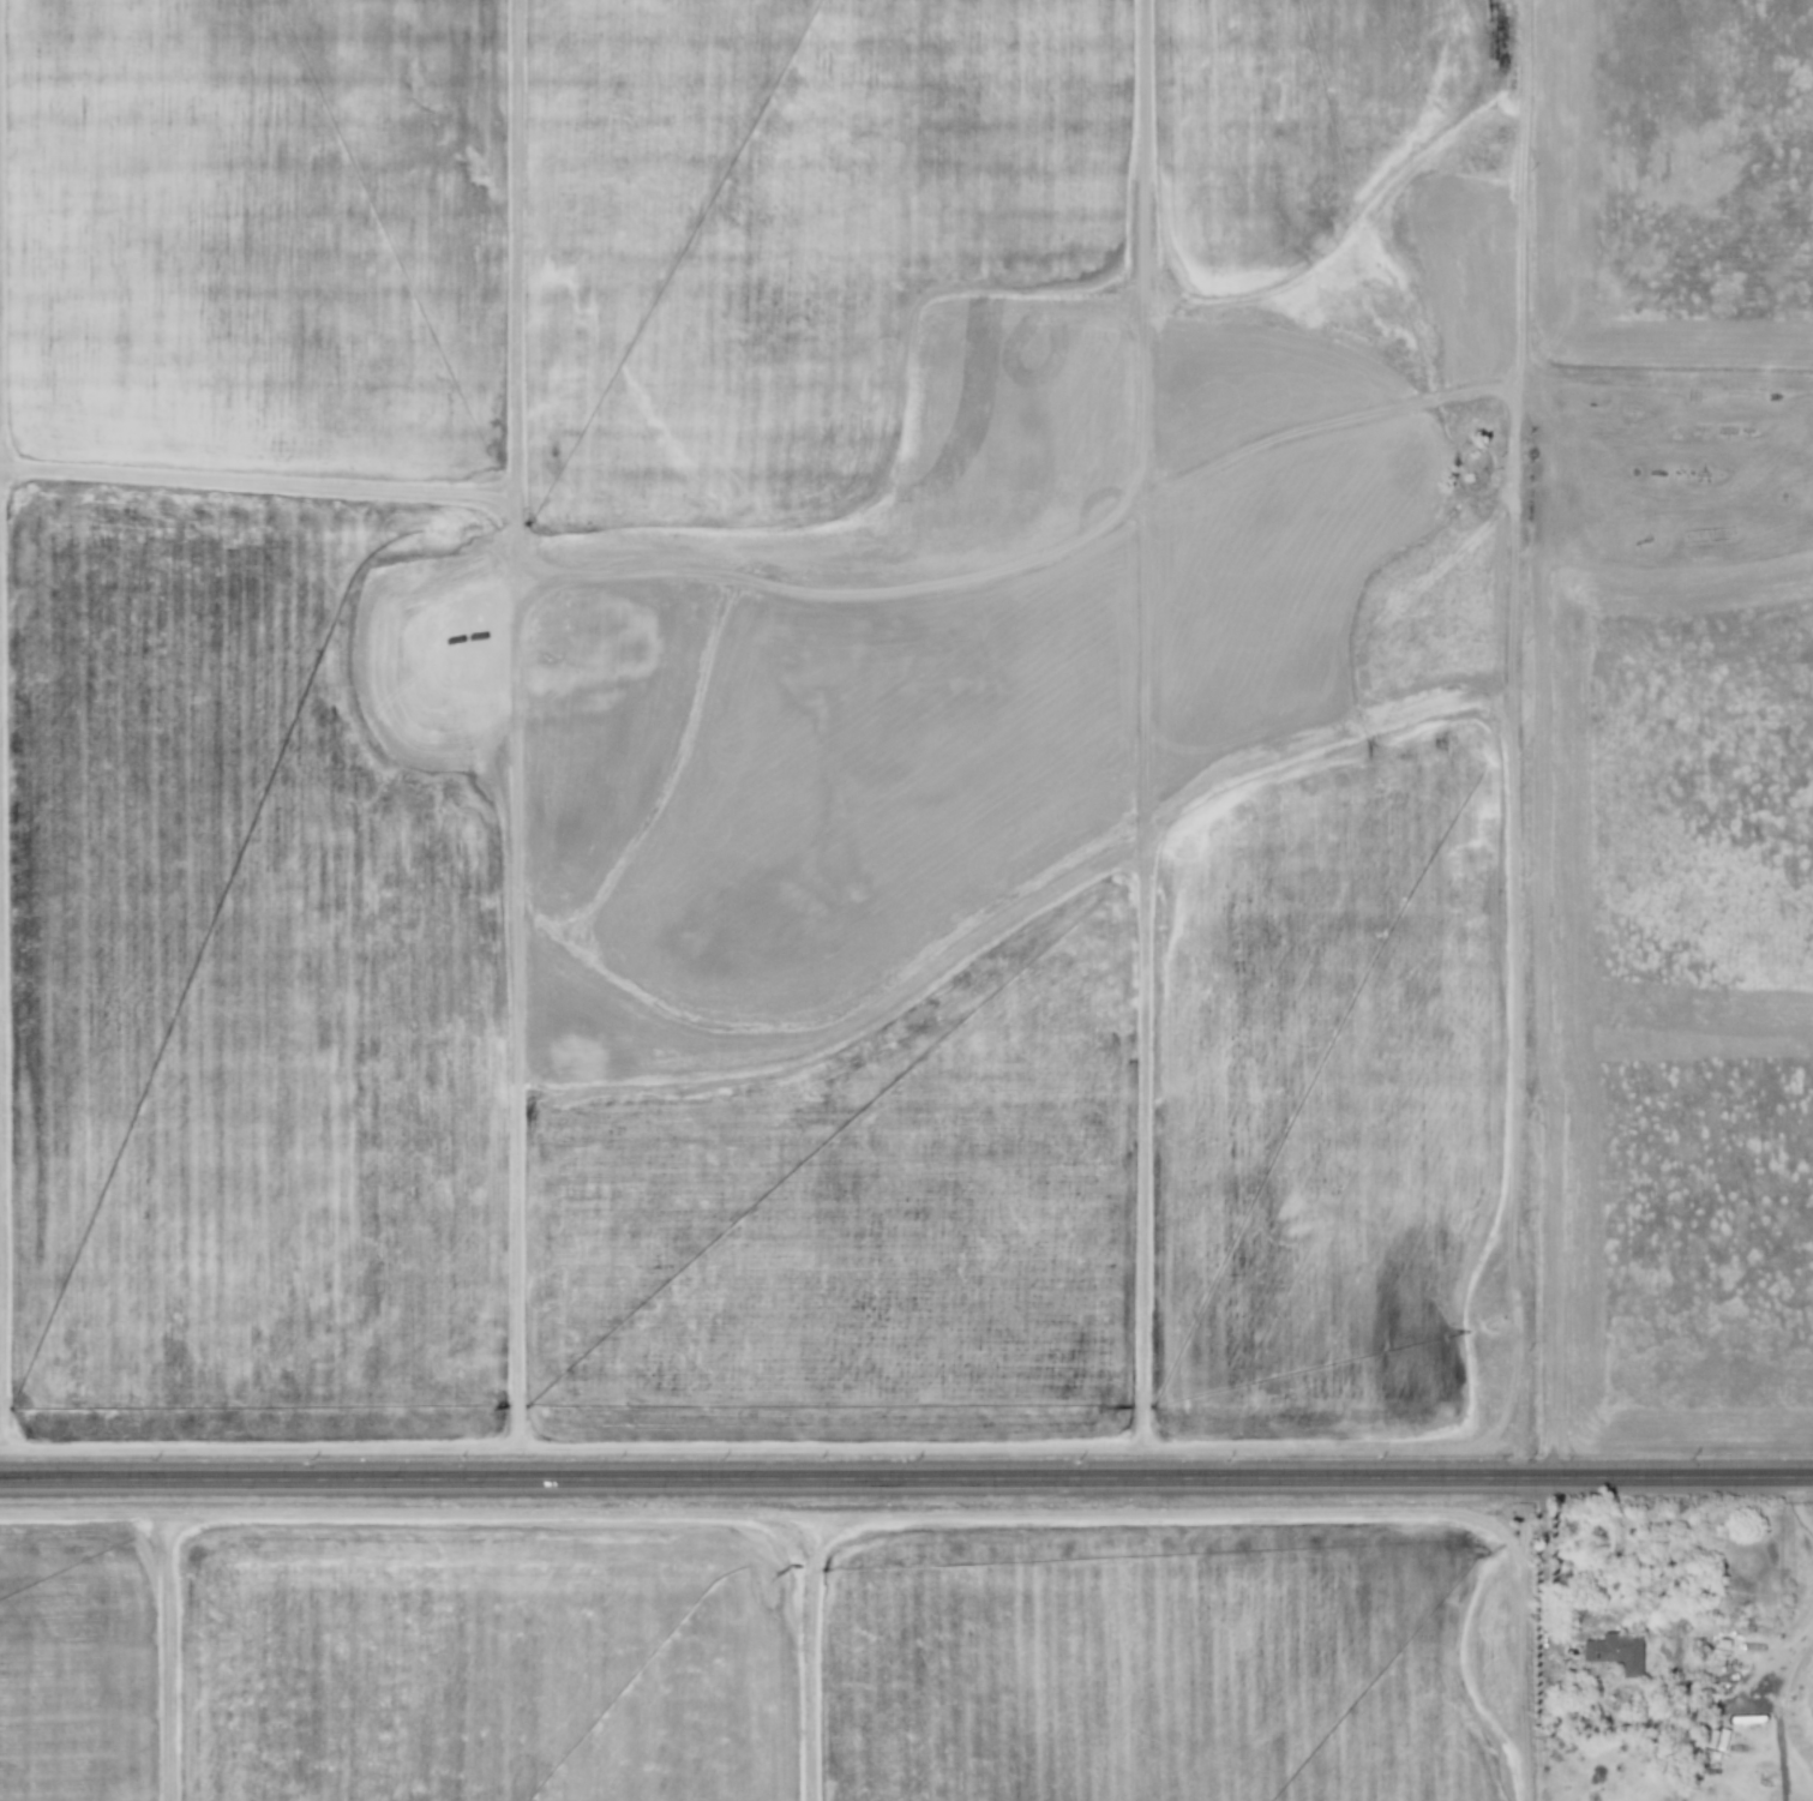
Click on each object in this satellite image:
road: (906, 1479)
road: (1544, 1556)
building: (1616, 1651)

